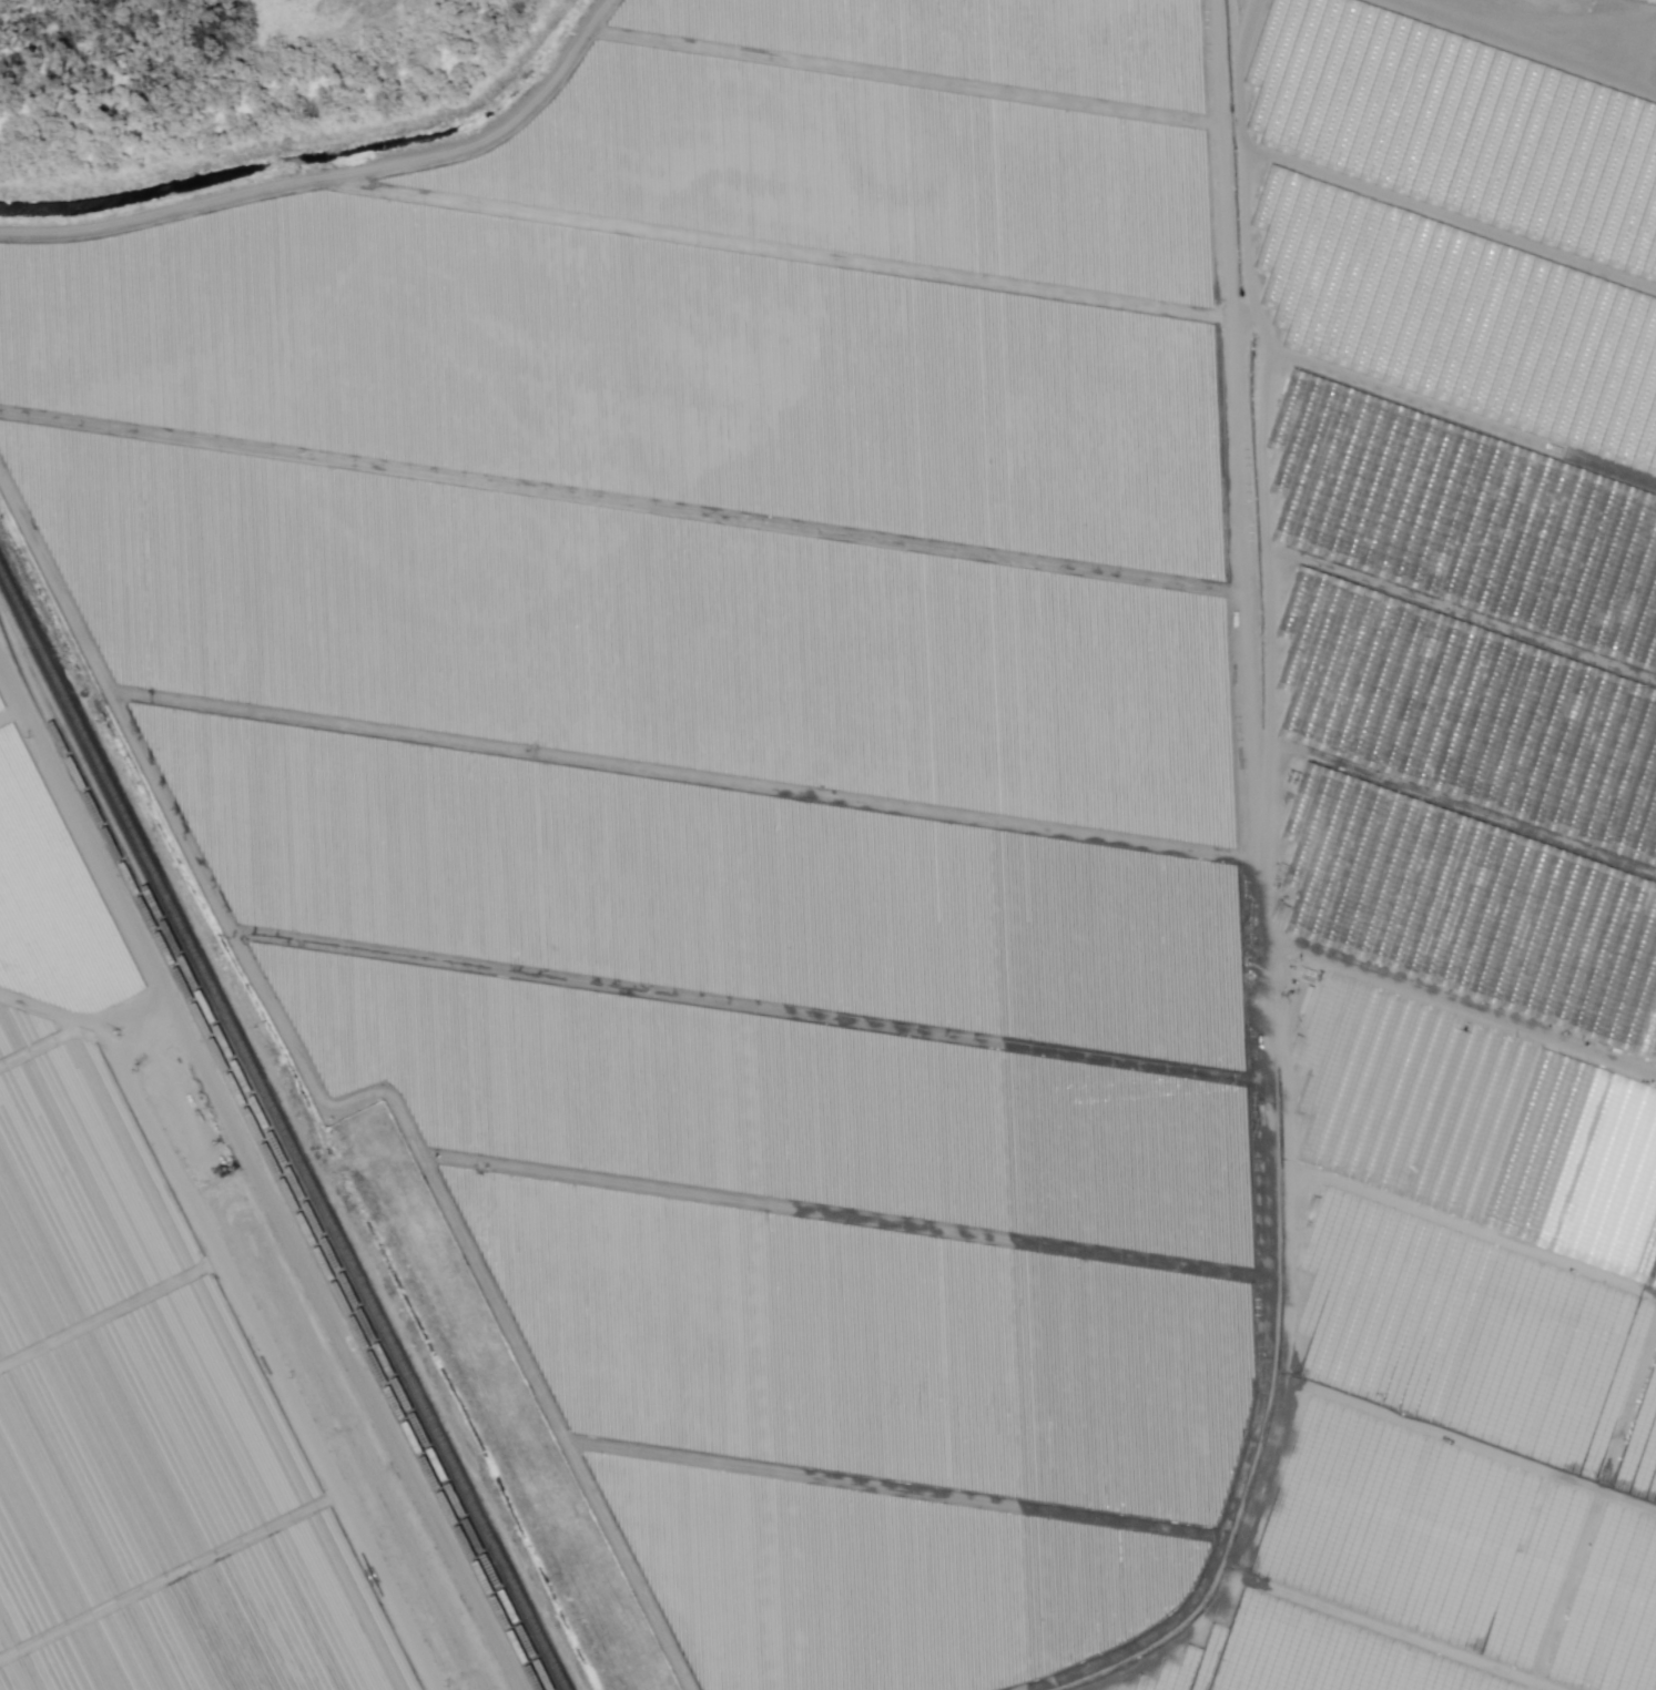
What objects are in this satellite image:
crop: (881, 142)
crop: (1464, 195)
crop: (638, 373)
crop: (641, 622)
crop: (1464, 712)
crop: (13, 744)
crop: (58, 910)
crop: (740, 994)
railway: (282, 1130)
railway: (266, 1146)
crop: (90, 1158)
crop: (215, 1175)
road: (243, 1310)
road: (109, 1312)
crop: (1469, 1314)
crop: (152, 1385)
crop: (338, 1423)
crop: (826, 1438)
road: (169, 1576)
crop: (190, 1592)
crop: (438, 1619)
crop: (1365, 1641)
crop: (37, 1681)

